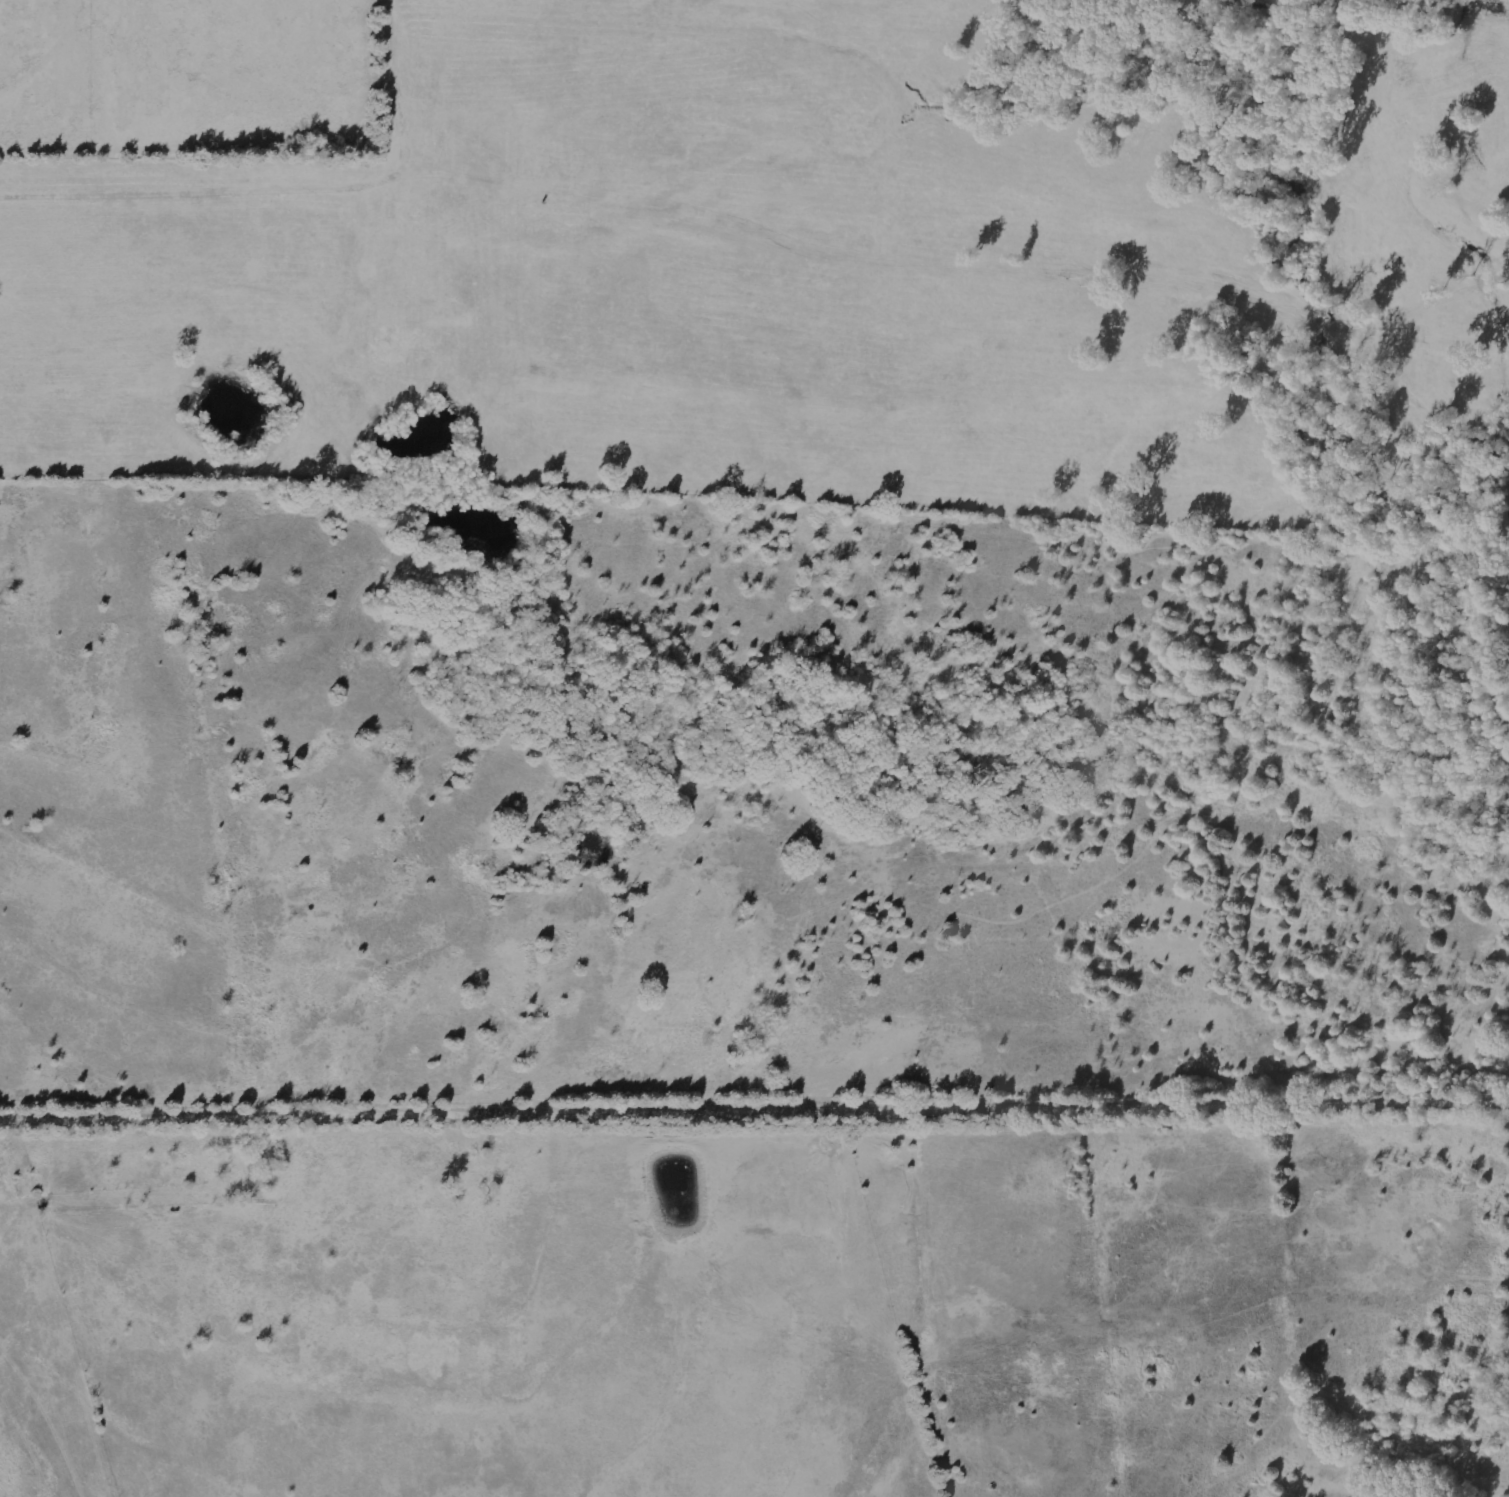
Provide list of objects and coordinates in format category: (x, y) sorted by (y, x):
road: (755, 1115)

